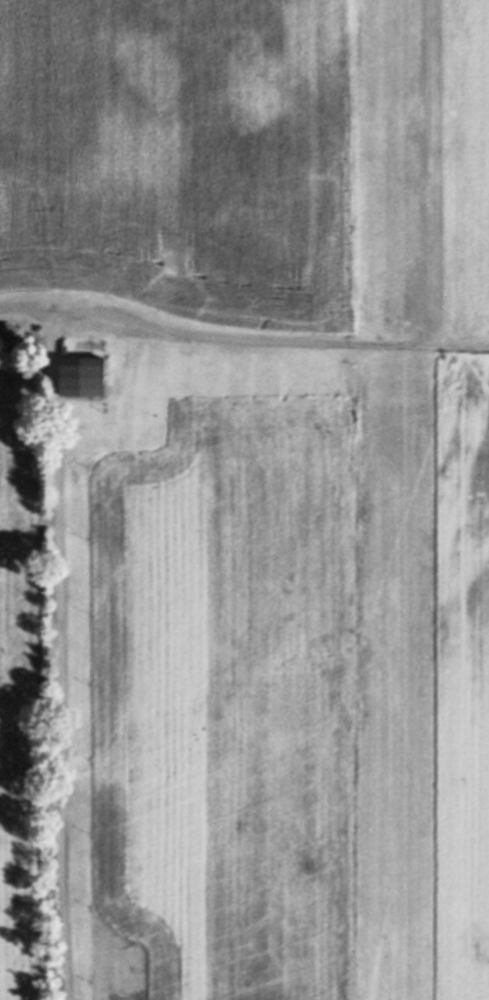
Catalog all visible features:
building: (97, 327)
airport taxiway: (282, 362)
airport apron: (119, 374)
airport hangar: (84, 375)
building: (84, 375)
airport runway: (394, 500)
road: (54, 638)
airport: (395, 725)

